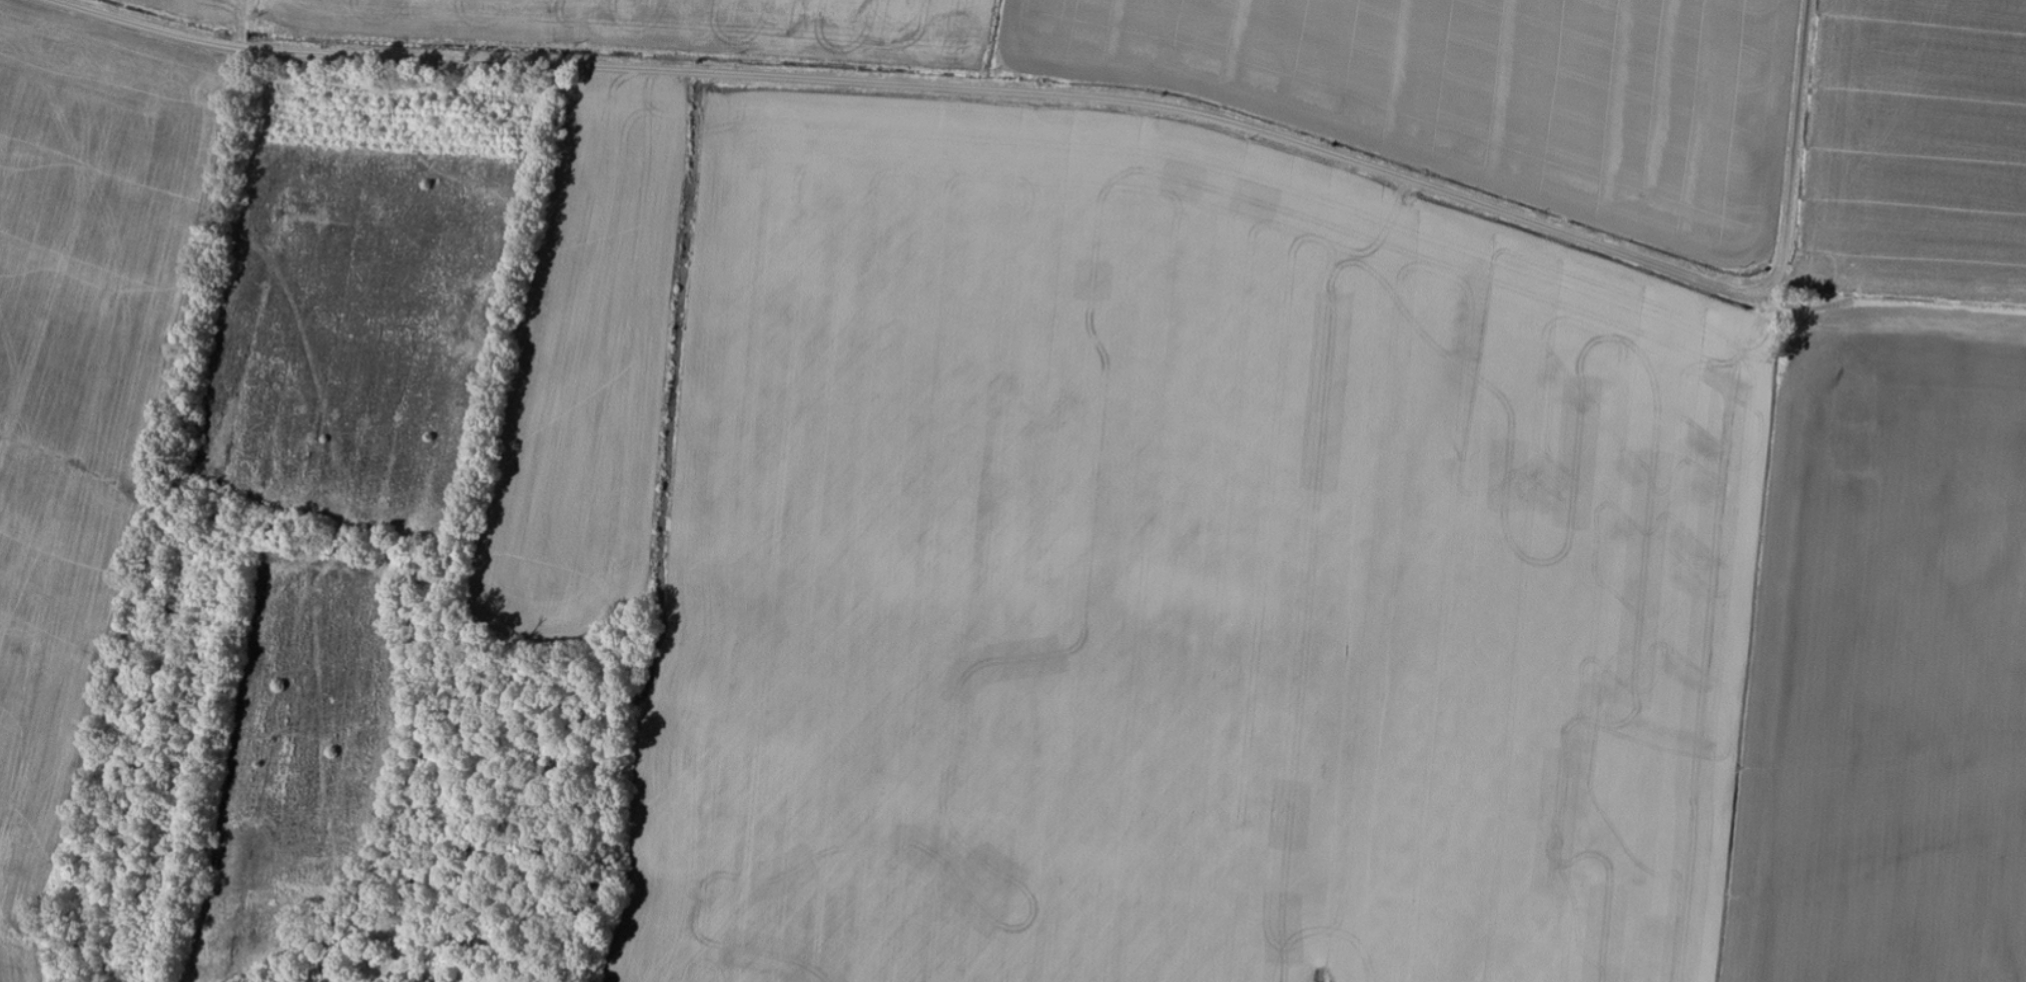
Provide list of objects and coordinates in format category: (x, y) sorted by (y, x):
road: (1067, 97)
road: (492, 496)
road: (1099, 547)

